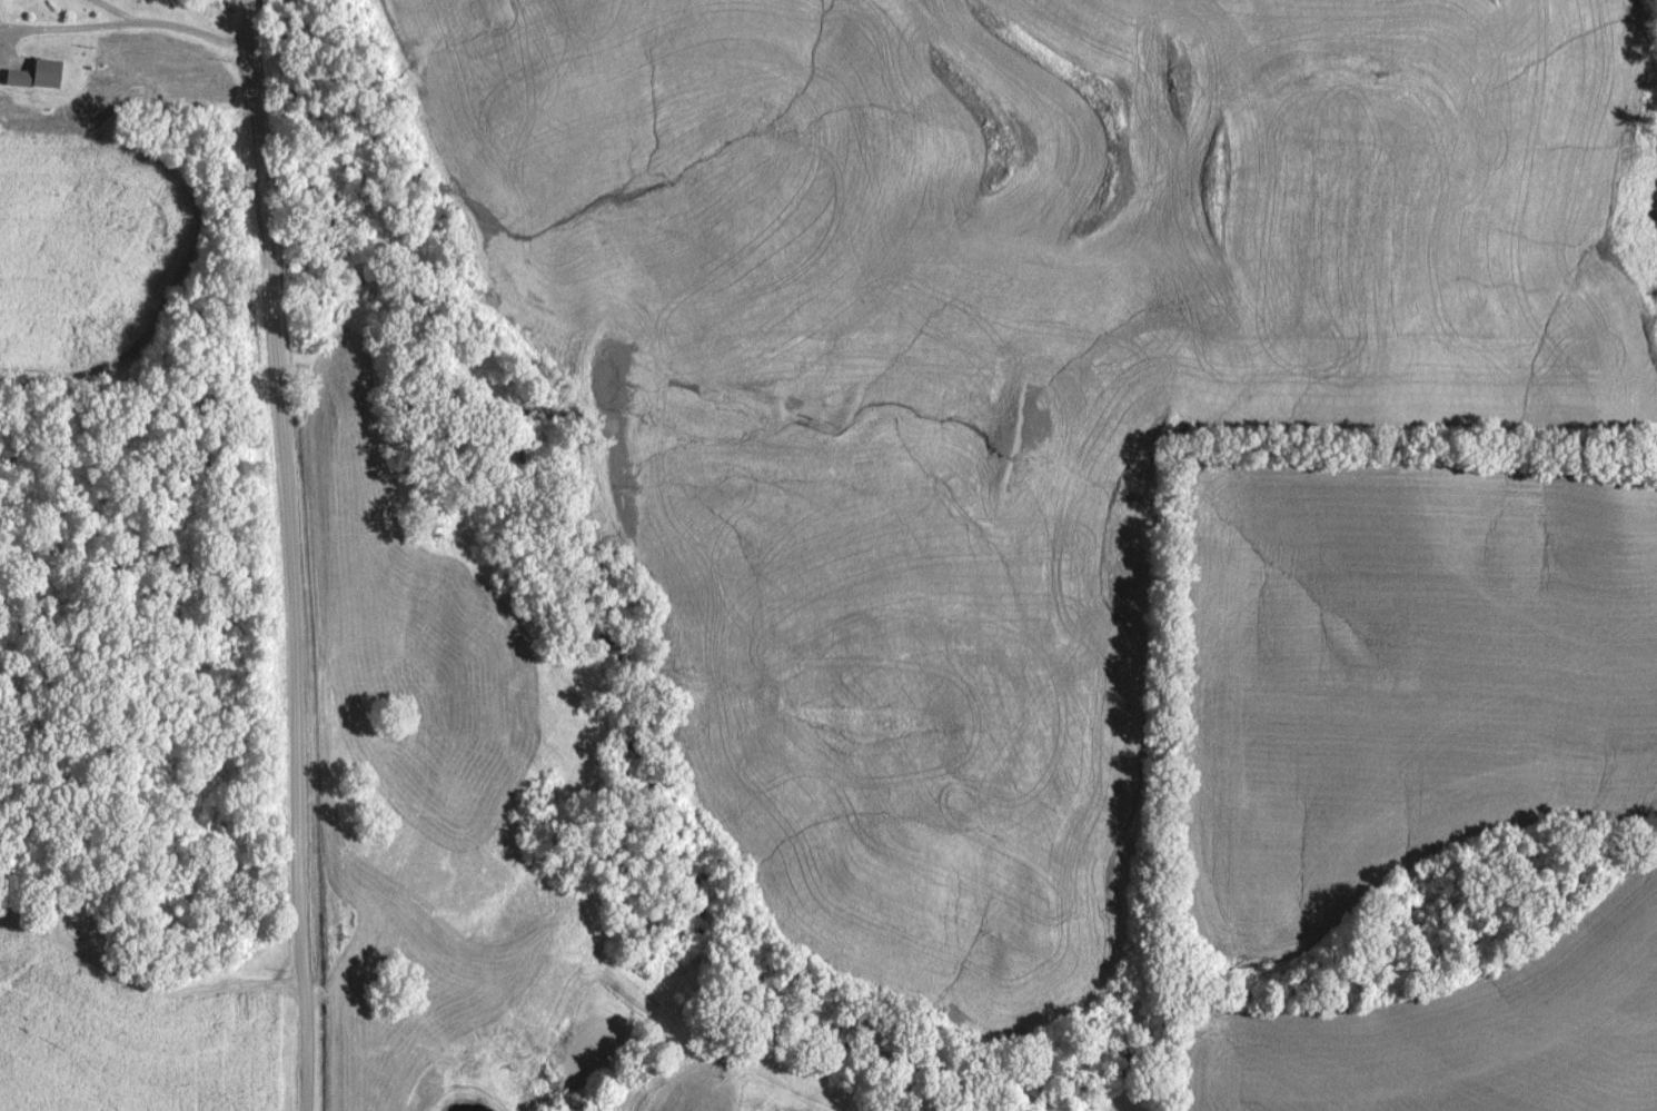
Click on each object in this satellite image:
road: (112, 29)
road: (235, 48)
road: (294, 554)

